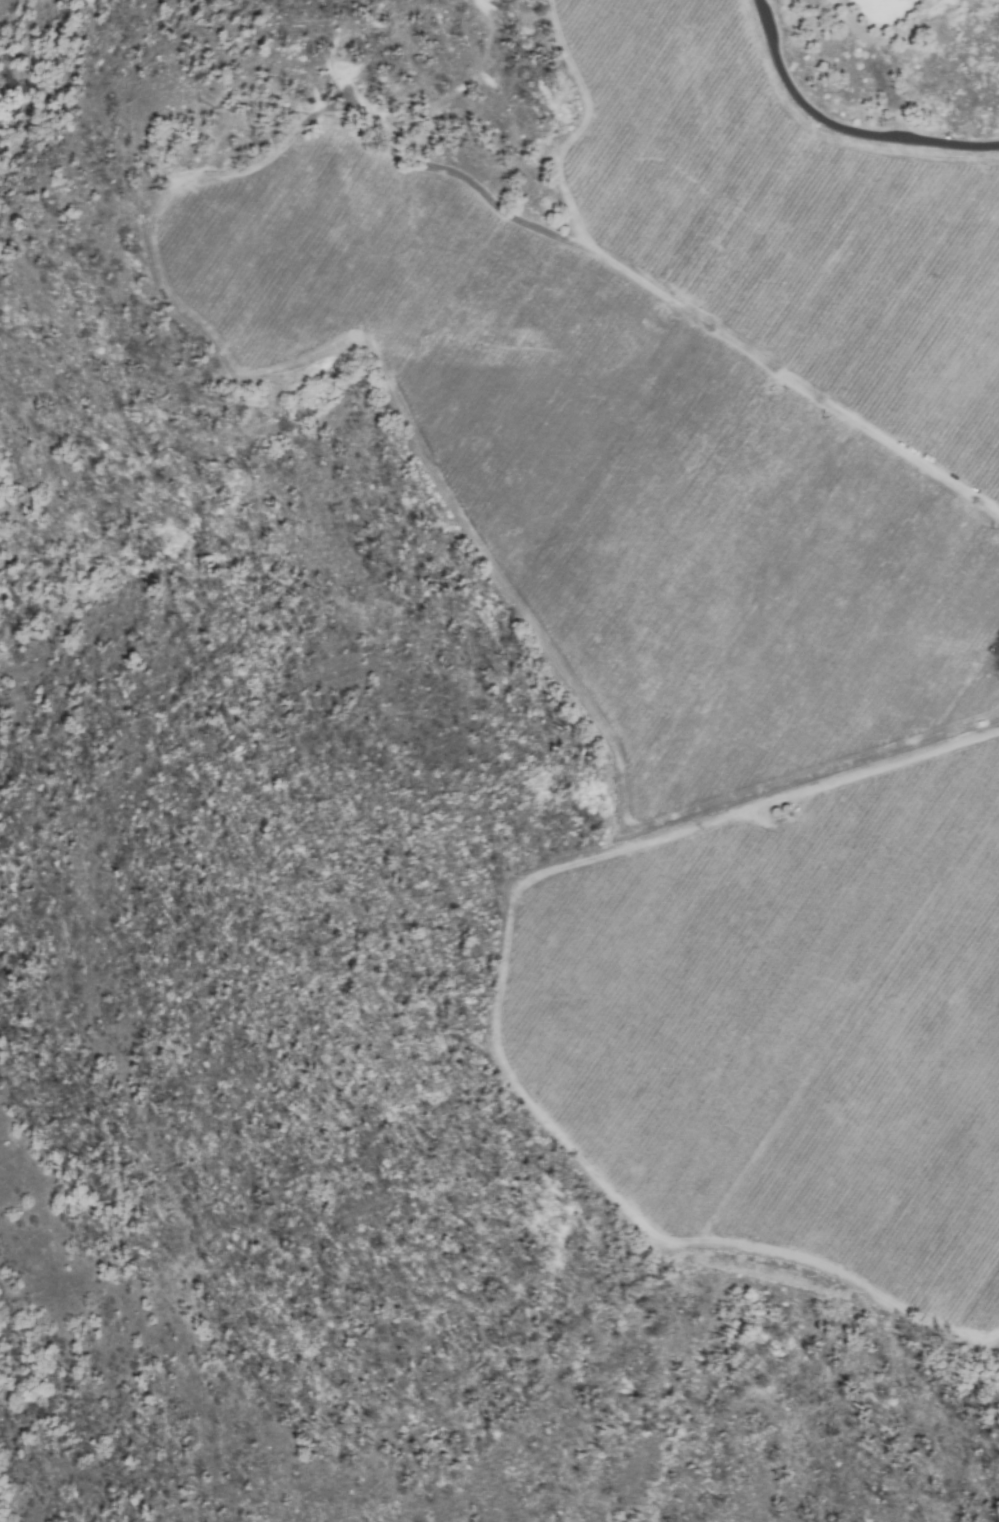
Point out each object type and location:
road: (841, 126)

